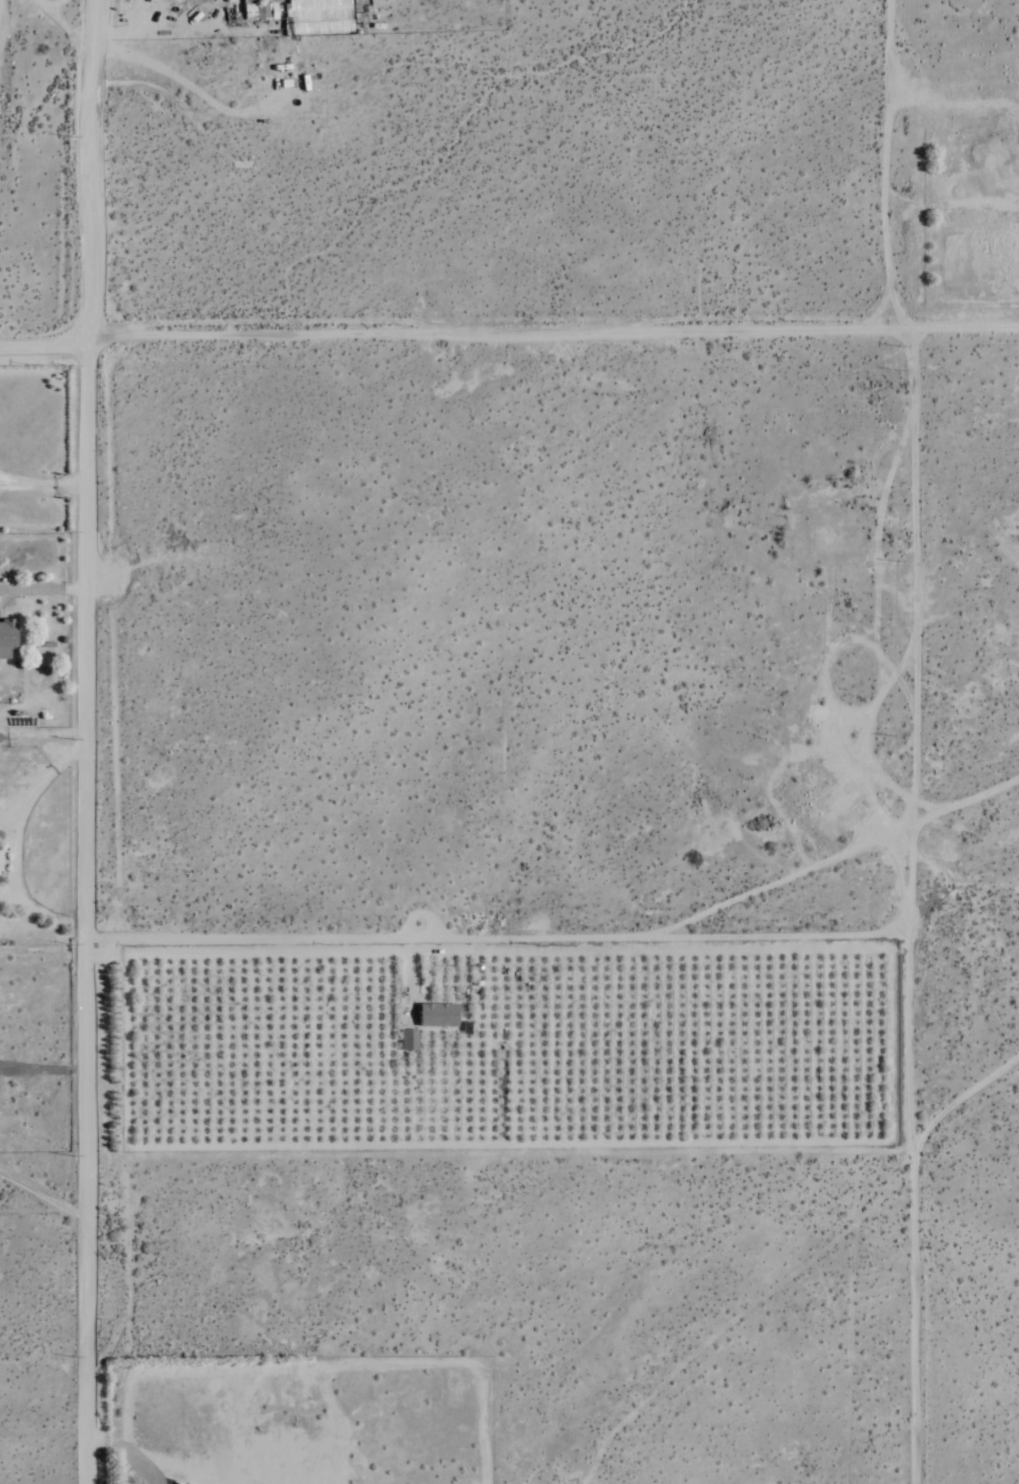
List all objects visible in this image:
road: (966, 330)
road: (457, 337)
building: (7, 639)
road: (92, 741)
road: (913, 742)
road: (782, 884)
road: (497, 939)
building: (438, 1015)
building: (409, 1040)

